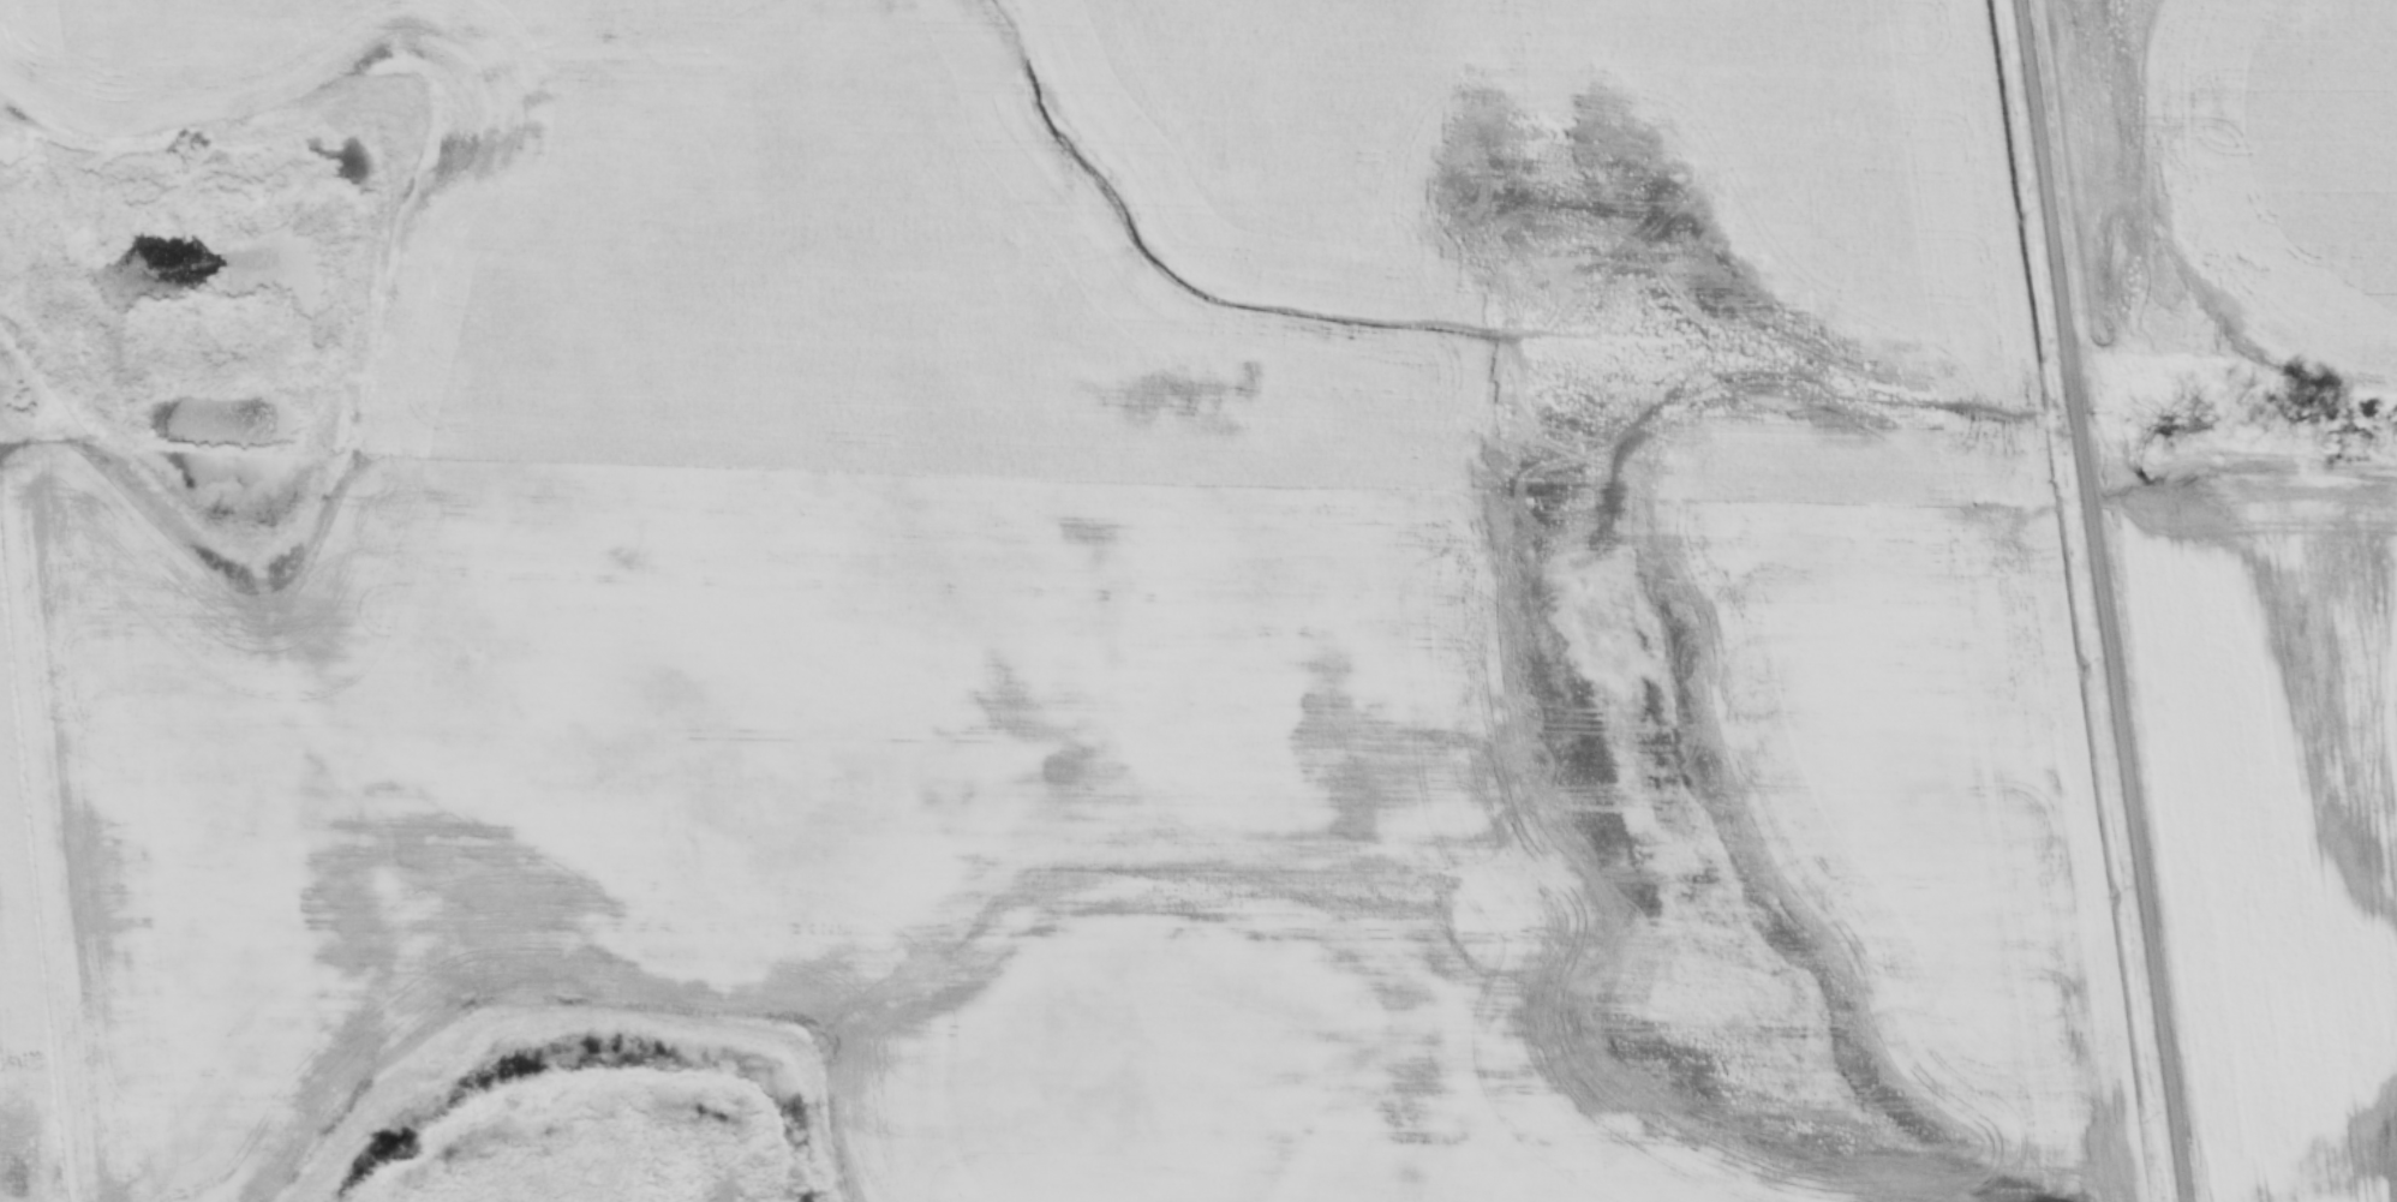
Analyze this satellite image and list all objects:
road: (2102, 600)

